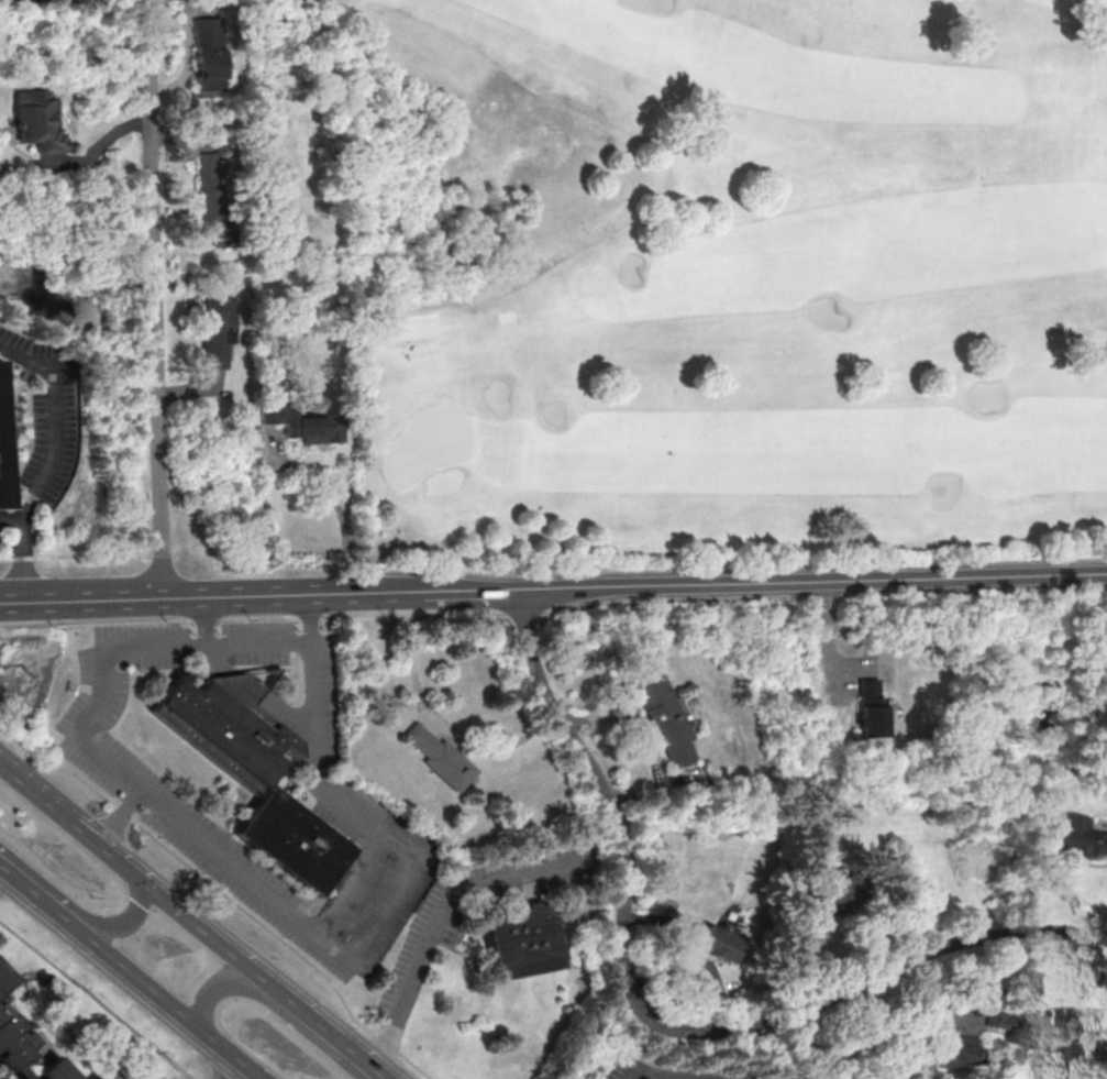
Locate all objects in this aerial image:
road: (186, 56)
building: (207, 56)
building: (36, 120)
road: (98, 148)
building: (210, 199)
park: (715, 276)
road: (154, 298)
building: (217, 328)
road: (55, 418)
building: (302, 423)
building: (3, 448)
road: (342, 513)
road: (23, 550)
road: (81, 554)
road: (818, 581)
road: (264, 594)
road: (265, 617)
road: (828, 639)
road: (289, 643)
building: (1105, 697)
road: (98, 701)
building: (871, 708)
building: (664, 718)
road: (646, 744)
building: (439, 757)
building: (255, 771)
road: (48, 802)
building: (1077, 835)
road: (622, 844)
road: (8, 882)
traffic signals: (147, 884)
road: (222, 891)
building: (839, 894)
road: (40, 895)
road: (387, 907)
road: (182, 914)
road: (445, 918)
road: (125, 924)
building: (523, 938)
building: (709, 940)
road: (922, 956)
building: (2, 978)
road: (220, 979)
road: (97, 999)
road: (170, 1003)
building: (1016, 1025)
road: (328, 1033)
building: (12, 1047)
building: (955, 1053)
road: (226, 1067)
road: (2, 1069)
building: (55, 1071)
road: (655, 1071)
building: (98, 1078)
road: (687, 1078)

